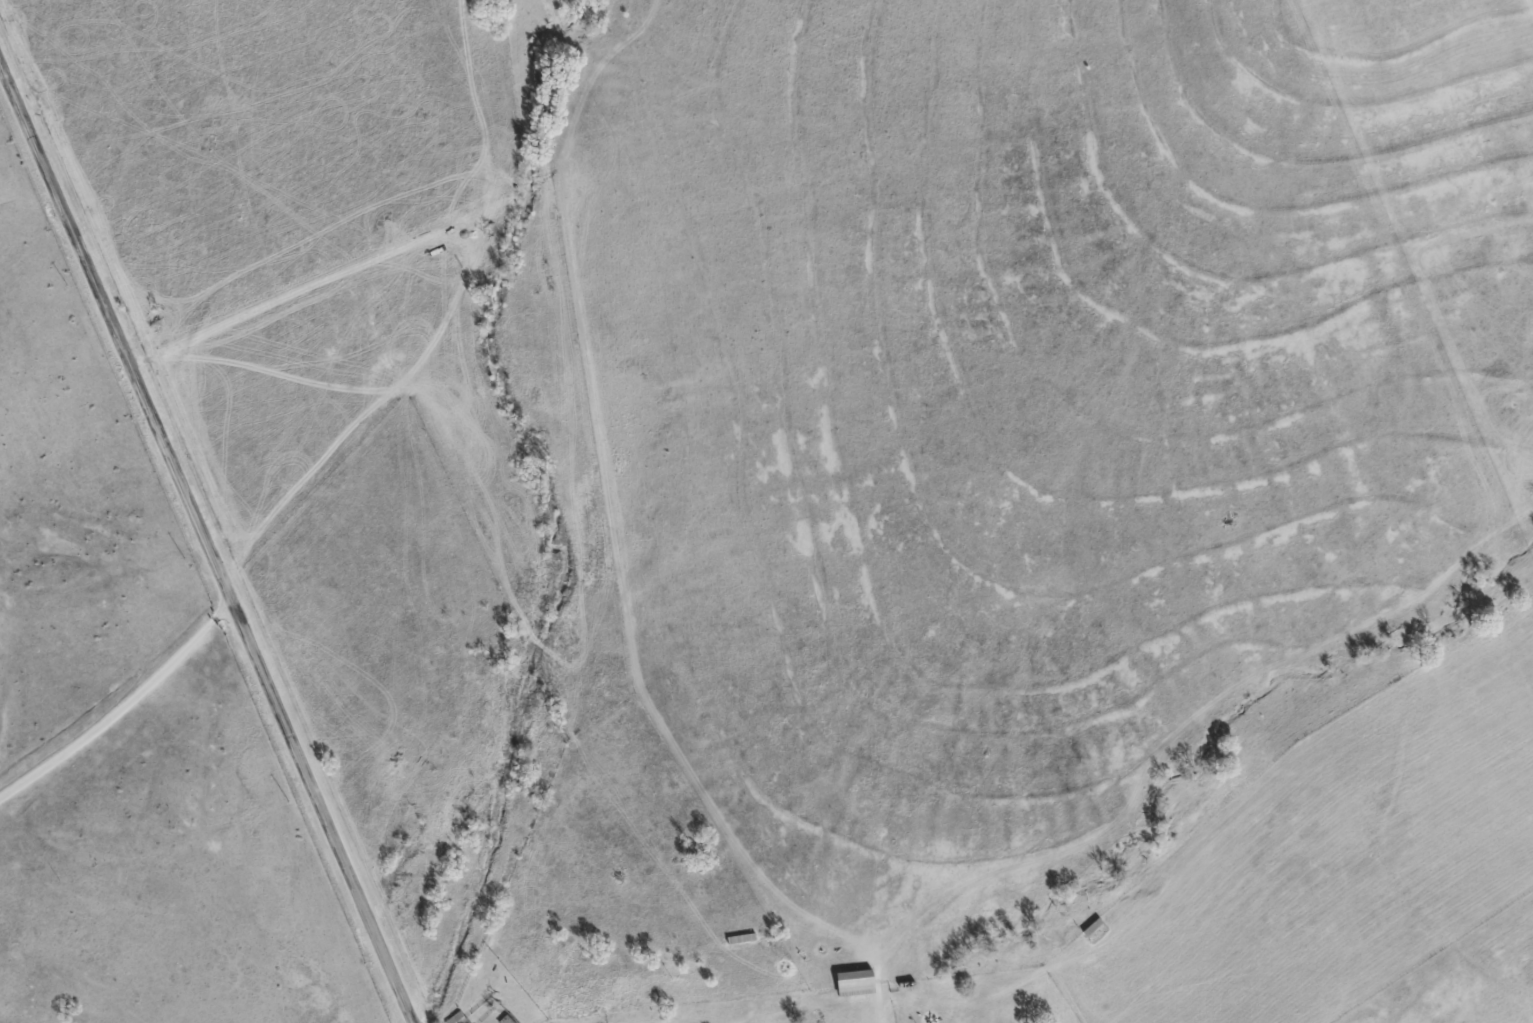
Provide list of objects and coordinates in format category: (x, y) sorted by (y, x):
road: (208, 543)
road: (219, 611)
road: (201, 629)
road: (101, 717)
road: (881, 1018)

